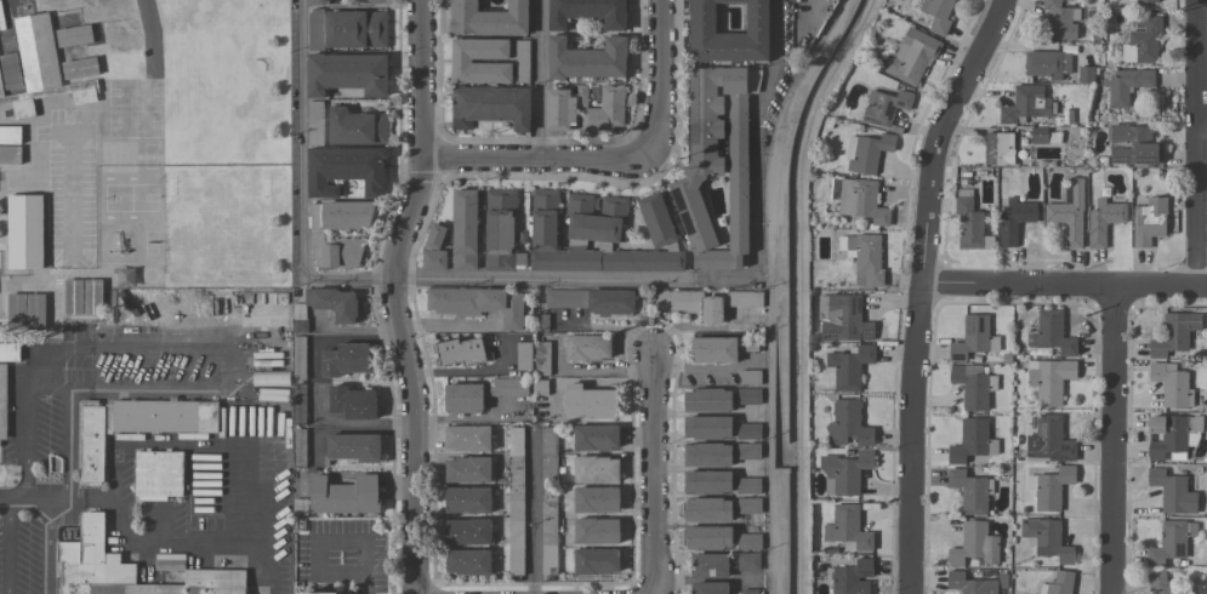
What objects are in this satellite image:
building: (1138, 0)
building: (377, 1)
building: (318, 2)
building: (587, 12)
building: (141, 13)
building: (938, 15)
building: (109, 18)
building: (489, 18)
building: (702, 18)
building: (1059, 21)
road: (779, 23)
building: (315, 29)
building: (357, 29)
building: (74, 35)
building: (1143, 42)
building: (910, 56)
building: (587, 58)
building: (461, 61)
building: (522, 61)
building: (1047, 63)
building: (41, 68)
building: (80, 68)
building: (11, 70)
building: (347, 73)
building: (1087, 74)
road: (664, 79)
road: (537, 80)
building: (1127, 85)
building: (1026, 104)
building: (490, 107)
building: (564, 107)
building: (886, 107)
building: (604, 109)
building: (315, 122)
building: (357, 126)
road: (785, 130)
building: (10, 135)
building: (1043, 136)
road: (423, 143)
road: (1194, 143)
building: (1133, 145)
building: (998, 148)
building: (867, 152)
building: (10, 154)
road: (539, 160)
building: (717, 164)
building: (345, 170)
road: (296, 181)
building: (859, 199)
building: (1069, 212)
building: (1015, 219)
building: (1104, 221)
building: (1150, 221)
building: (970, 223)
building: (466, 229)
building: (25, 232)
building: (501, 232)
building: (317, 233)
building: (600, 235)
building: (434, 249)
building: (864, 257)
road: (62, 261)
road: (585, 282)
road: (1063, 285)
road: (918, 286)
building: (74, 297)
building: (92, 297)
building: (745, 298)
building: (592, 299)
building: (478, 303)
building: (690, 303)
building: (325, 307)
building: (16, 310)
building: (35, 310)
building: (843, 318)
building: (540, 322)
road: (444, 325)
building: (1052, 333)
building: (1174, 333)
building: (972, 337)
building: (751, 344)
building: (586, 347)
building: (714, 349)
building: (461, 350)
building: (10, 352)
building: (524, 355)
building: (298, 356)
building: (345, 359)
building: (542, 359)
road: (210, 361)
building: (849, 366)
road: (465, 371)
building: (271, 377)
building: (751, 377)
building: (1049, 379)
building: (1172, 384)
building: (973, 385)
building: (508, 387)
building: (540, 387)
building: (750, 396)
building: (463, 398)
building: (2, 400)
building: (707, 400)
building: (352, 402)
building: (590, 402)
building: (298, 405)
road: (64, 419)
building: (137, 424)
building: (849, 424)
building: (708, 427)
building: (750, 430)
building: (1172, 435)
road: (409, 436)
building: (468, 438)
building: (596, 438)
road: (24, 440)
building: (972, 440)
road: (1110, 440)
building: (1049, 441)
building: (298, 447)
building: (354, 447)
building: (748, 451)
building: (708, 453)
building: (596, 468)
building: (468, 469)
road: (656, 472)
building: (846, 473)
building: (158, 474)
building: (708, 481)
building: (750, 485)
building: (1051, 487)
building: (970, 491)
building: (1173, 491)
road: (12, 496)
road: (45, 496)
building: (340, 496)
building: (468, 499)
building: (516, 499)
building: (548, 499)
building: (597, 499)
building: (750, 506)
building: (708, 509)
road: (533, 514)
building: (848, 527)
building: (597, 530)
building: (468, 531)
road: (177, 537)
building: (708, 537)
building: (1047, 539)
building: (750, 541)
building: (1171, 542)
road: (317, 543)
road: (7, 544)
road: (47, 544)
building: (974, 544)
building: (469, 561)
building: (596, 561)
building: (748, 561)
building: (170, 565)
building: (710, 565)
building: (127, 569)
building: (850, 577)
building: (1002, 582)
building: (969, 583)
building: (1059, 583)
building: (1160, 583)
road: (364, 584)
building: (710, 588)
building: (750, 592)
building: (319, 593)

